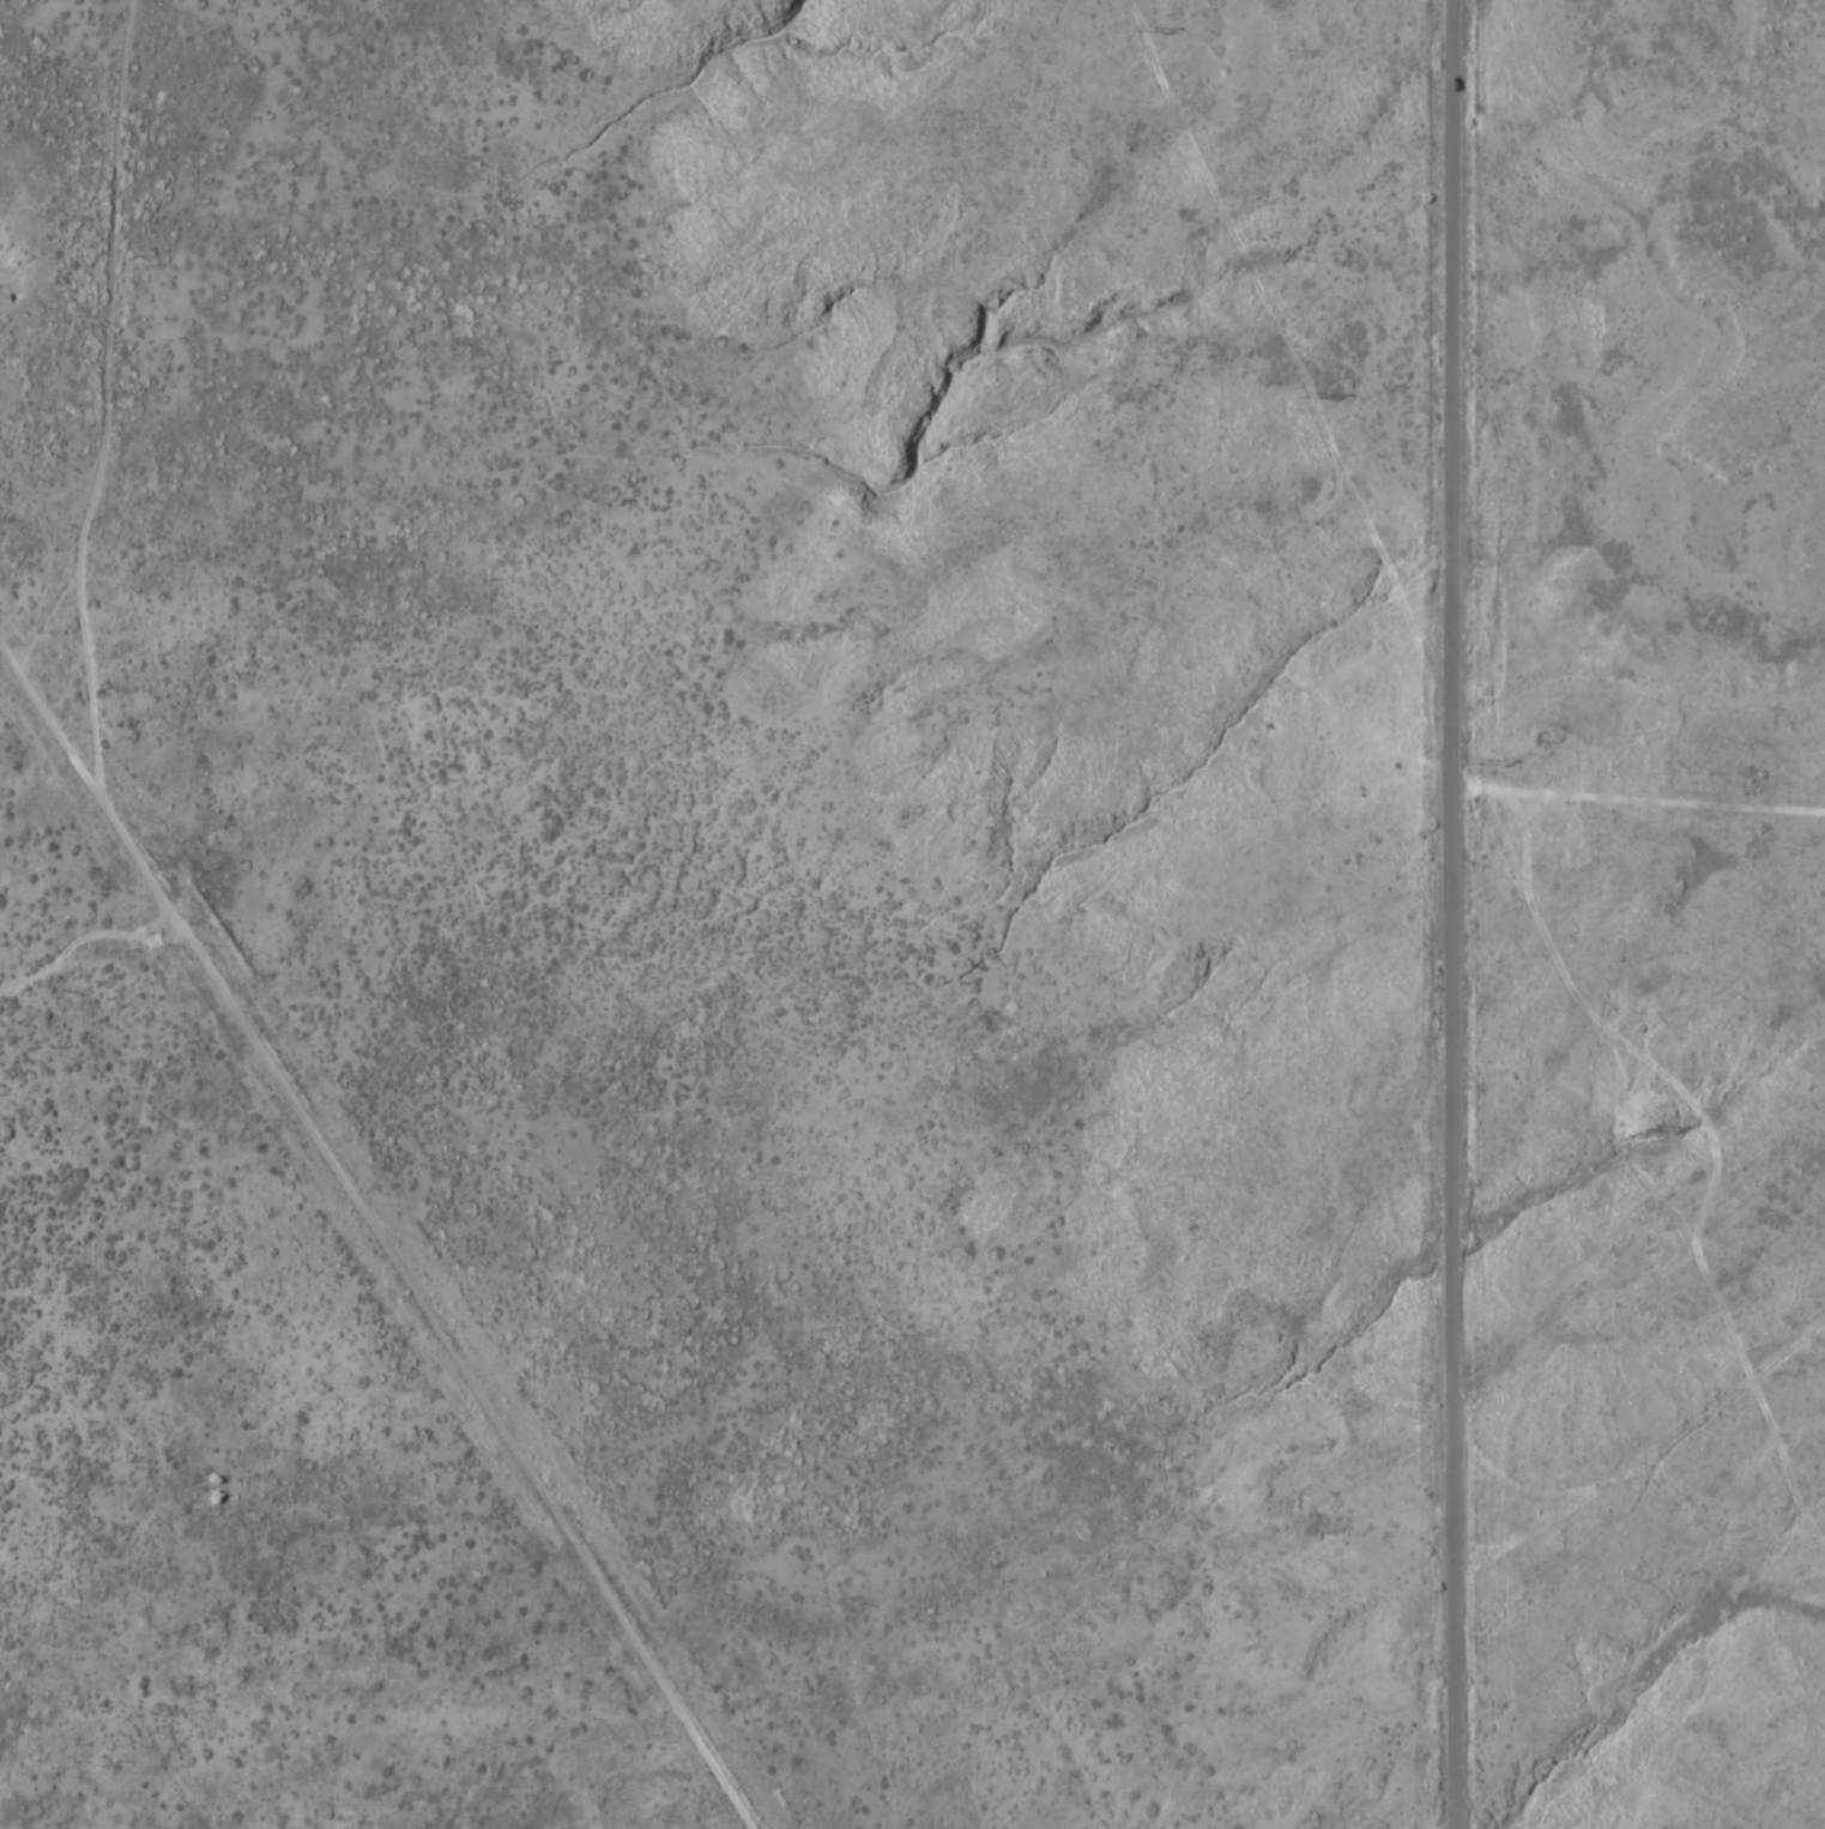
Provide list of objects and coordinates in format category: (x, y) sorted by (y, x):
power tower: (1134, 25)
power tower: (1305, 391)
road: (24, 738)
power tower: (1473, 757)
road: (1456, 913)
power tower: (1638, 1124)
road: (379, 1299)
road: (1651, 1451)
power tower: (1808, 1490)

